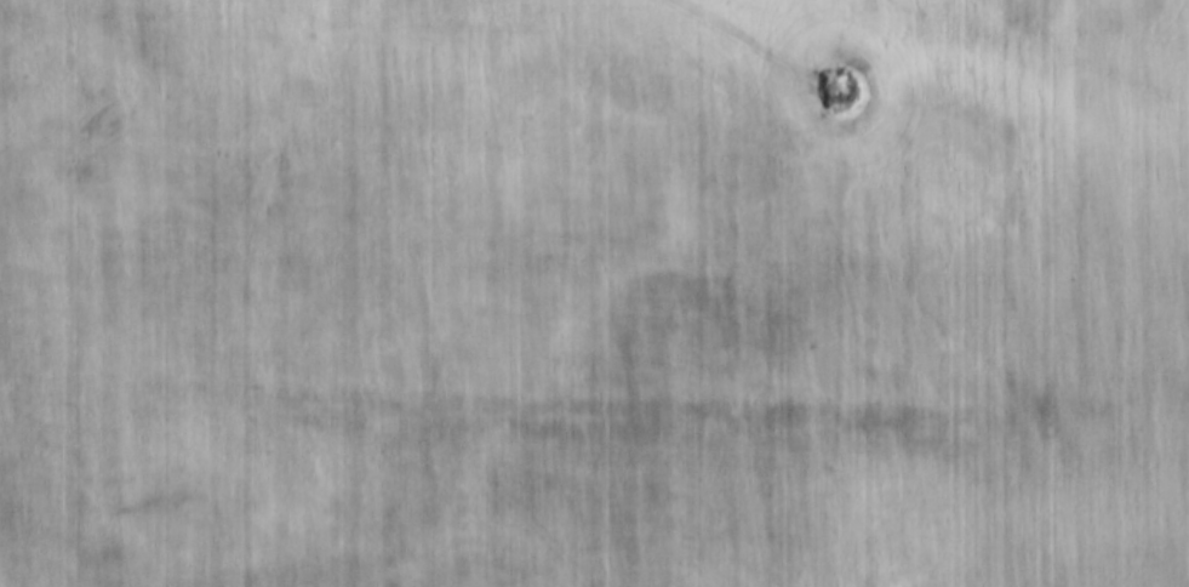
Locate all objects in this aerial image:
road: (885, 36)

